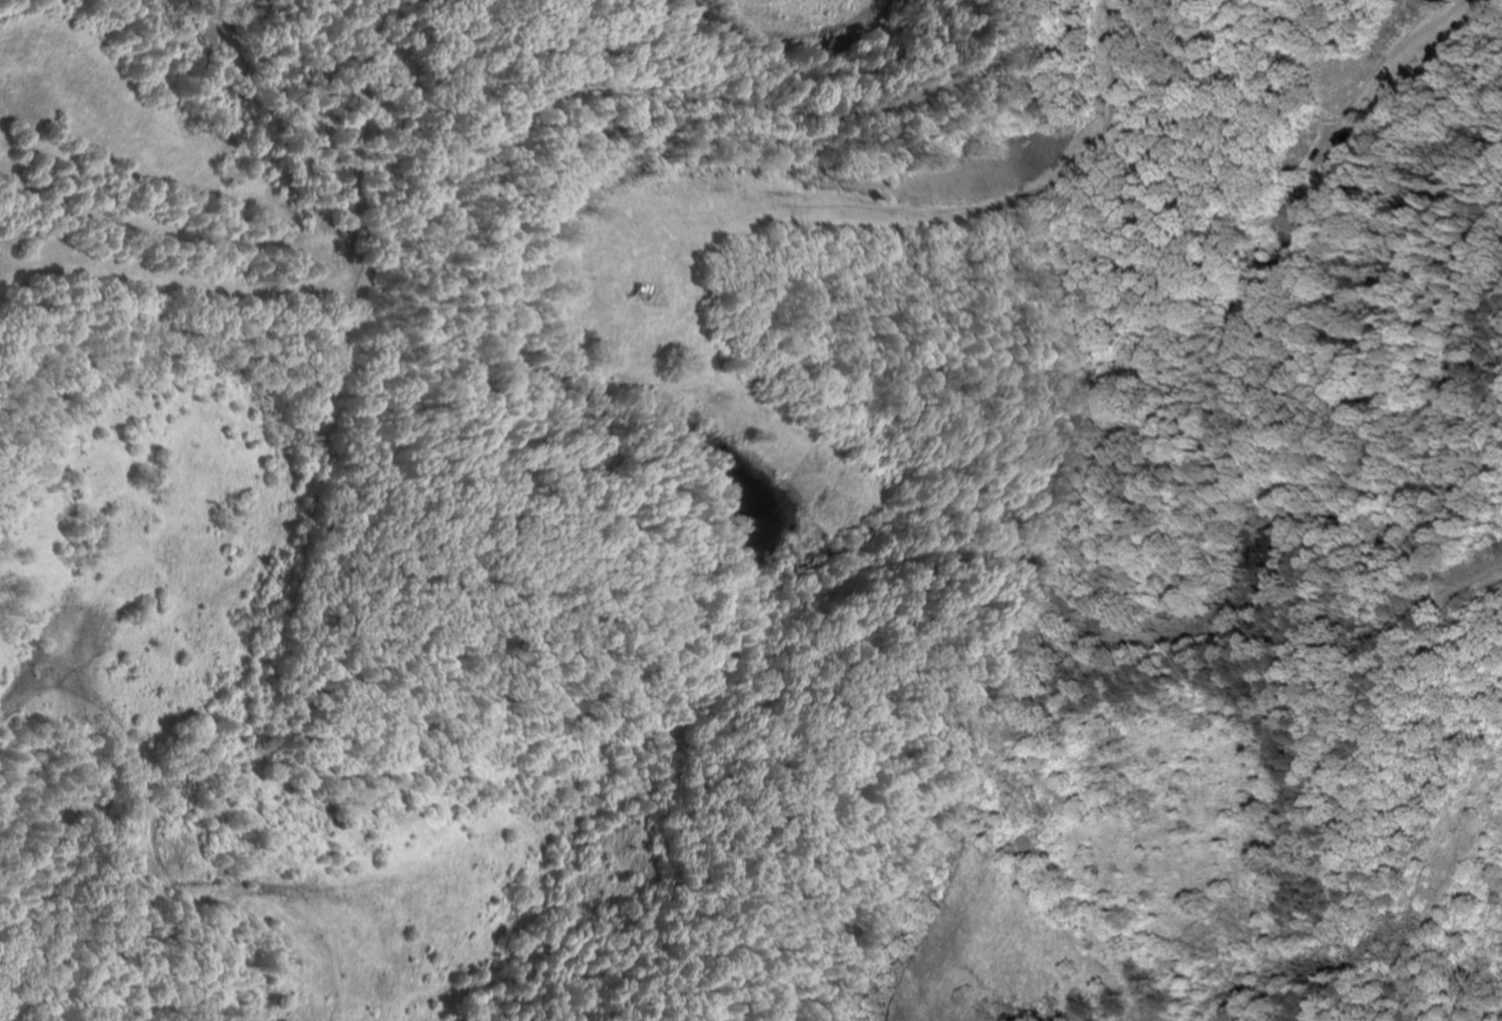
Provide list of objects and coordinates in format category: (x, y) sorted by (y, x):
road: (1376, 35)
building: (1288, 230)
building: (1351, 622)

